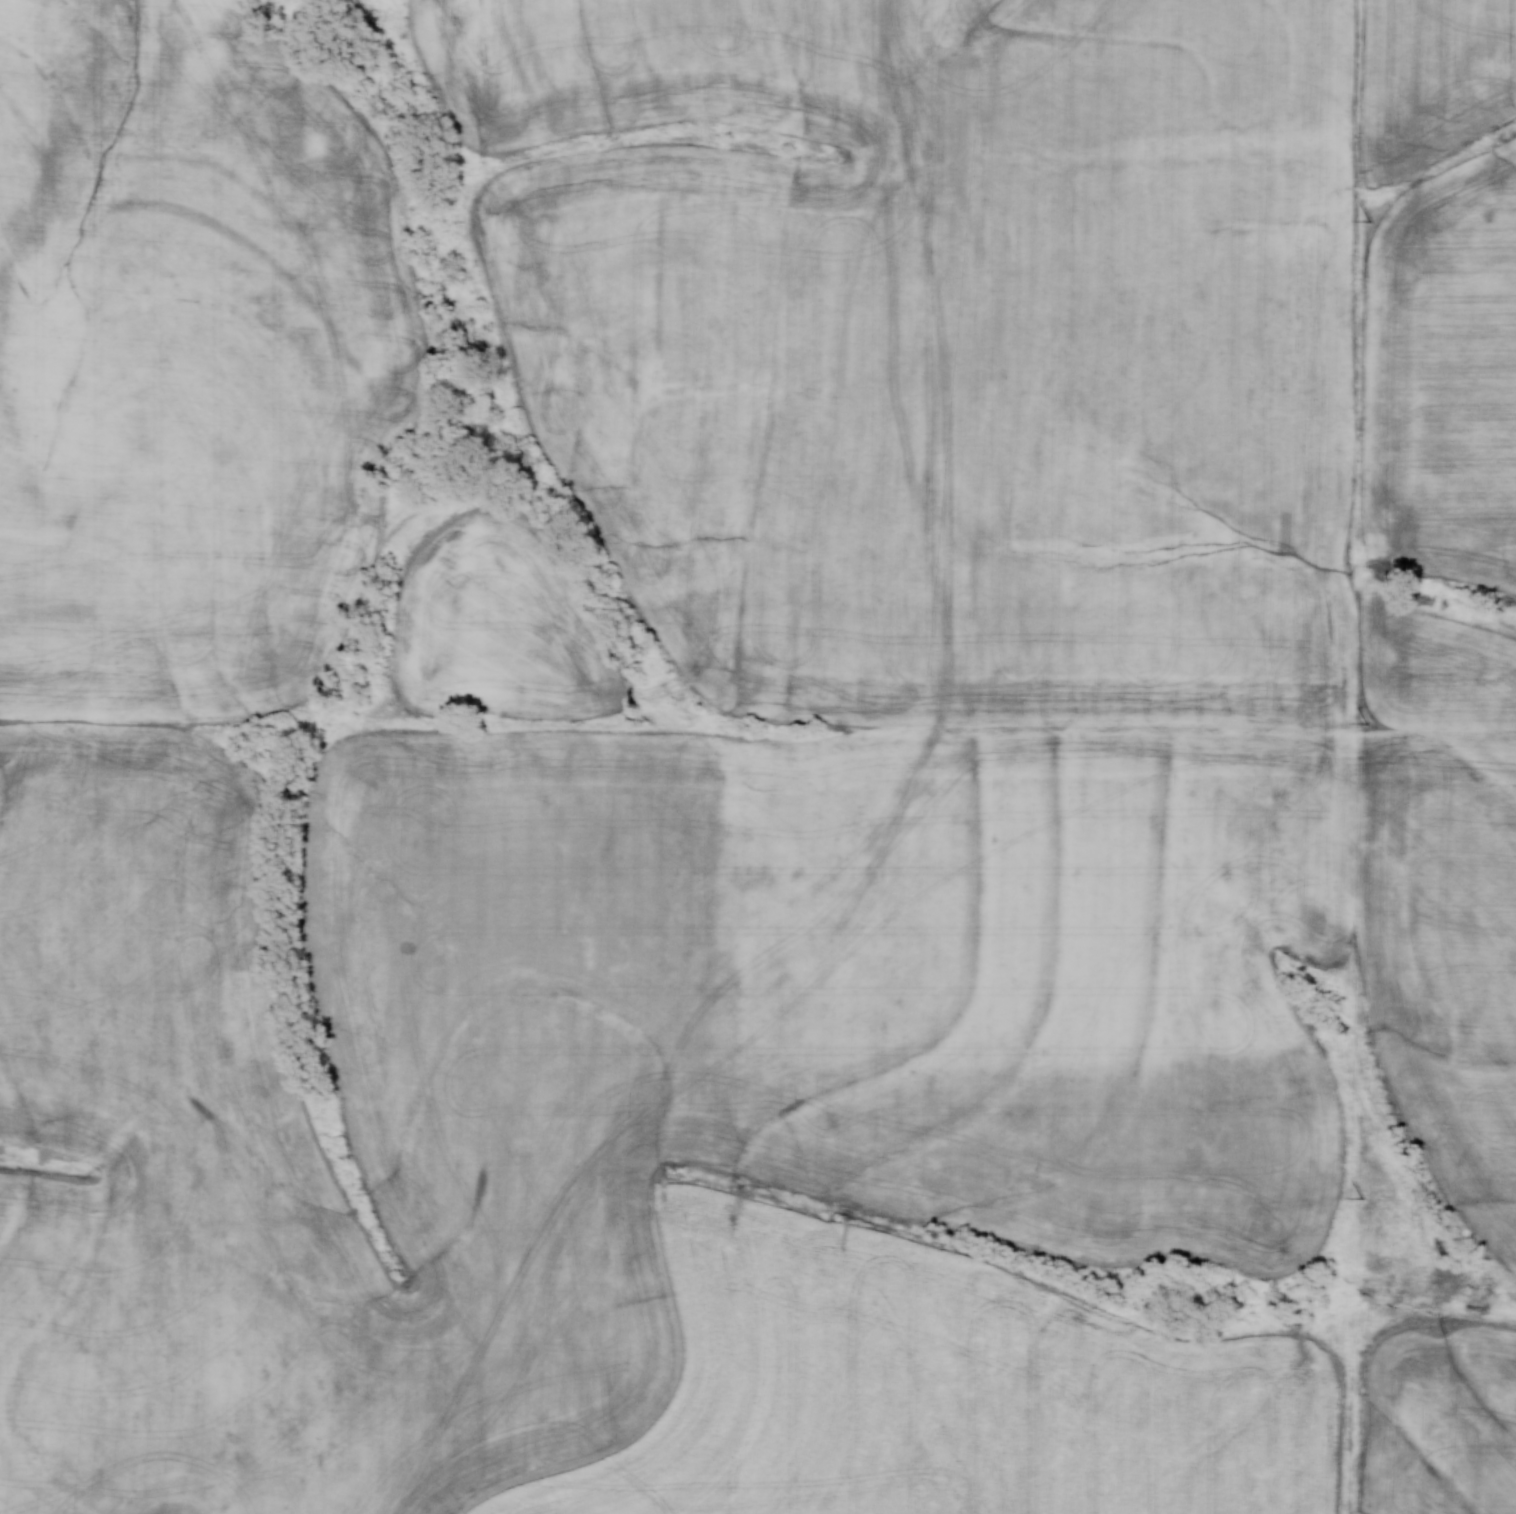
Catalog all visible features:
power tower: (1369, 220)
power tower: (1367, 722)
power tower: (1362, 1197)

